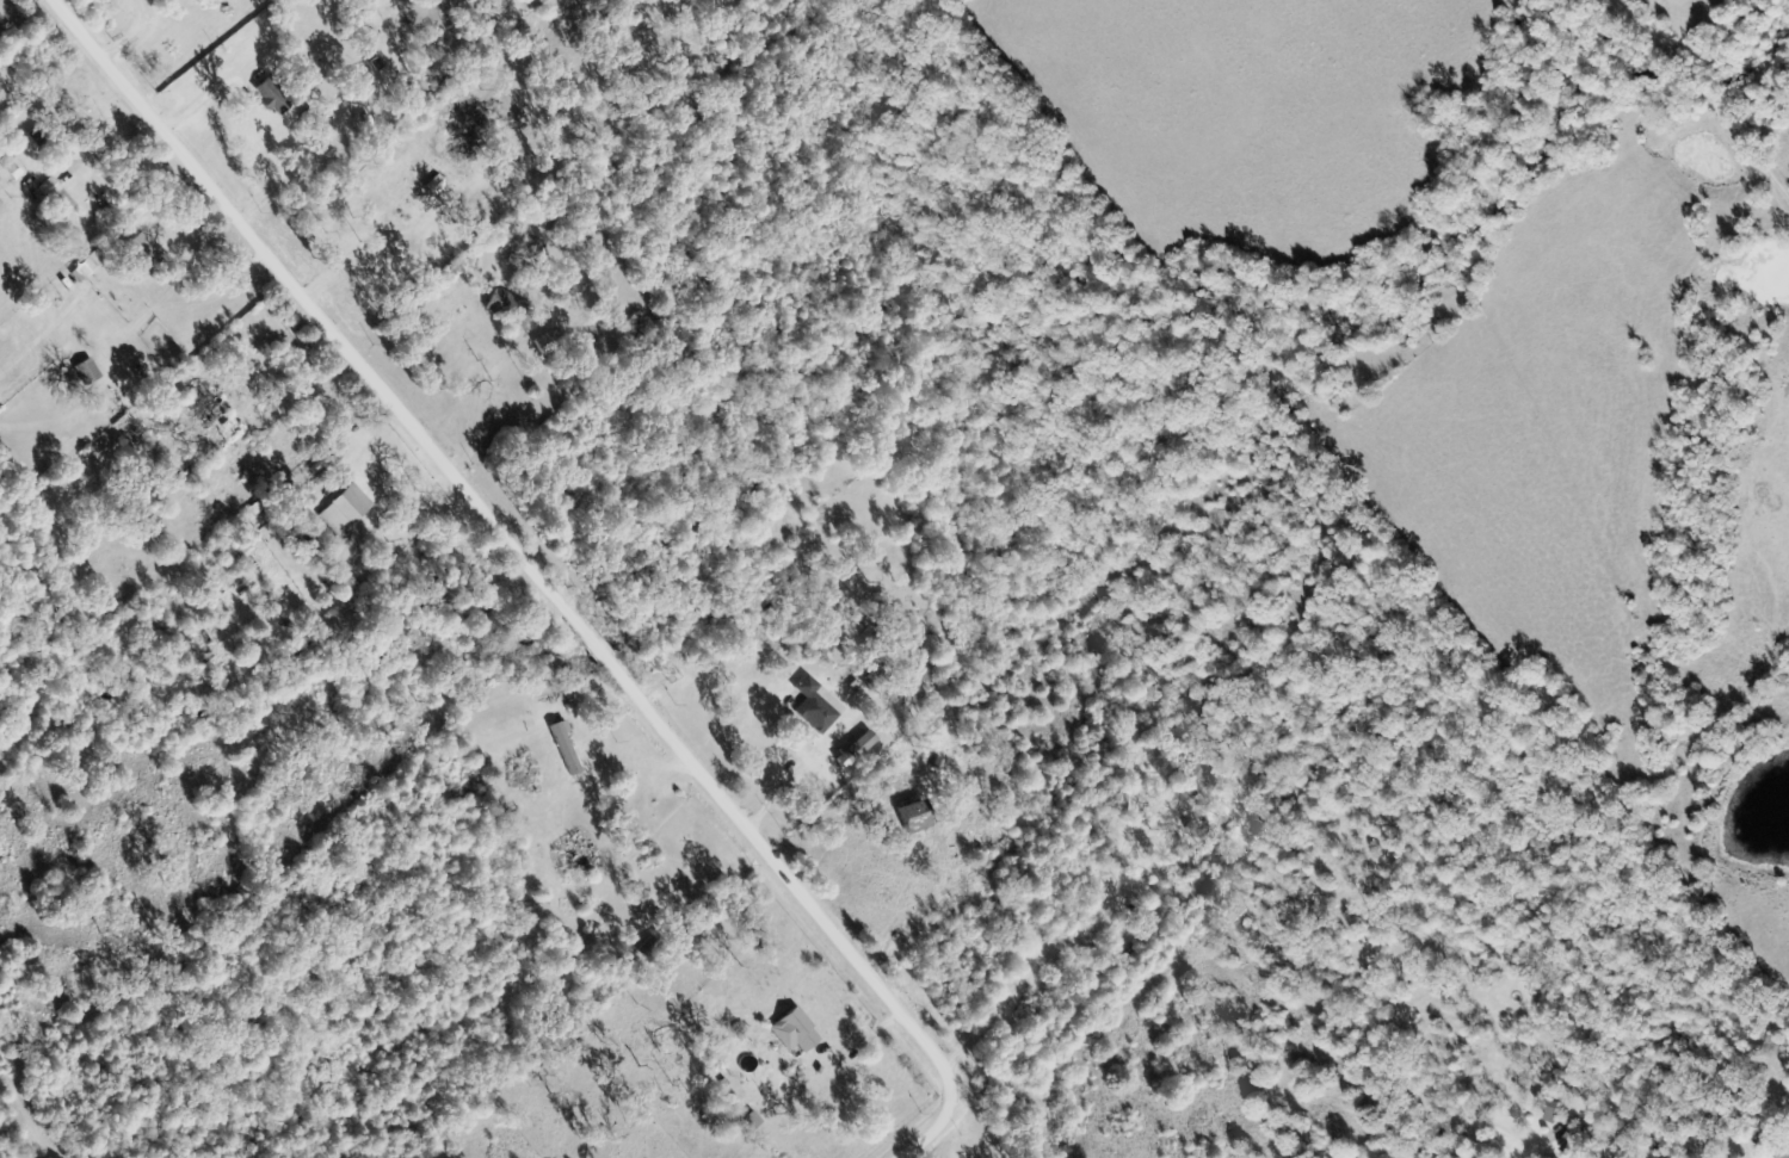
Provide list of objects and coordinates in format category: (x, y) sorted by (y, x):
building: (270, 97)
building: (58, 129)
building: (56, 197)
building: (142, 254)
building: (507, 308)
building: (544, 343)
building: (86, 371)
building: (210, 413)
building: (344, 510)
building: (311, 549)
road: (532, 576)
building: (923, 676)
building: (815, 706)
building: (1192, 780)
building: (1118, 801)
building: (912, 815)
building: (576, 857)
building: (1162, 867)
building: (1028, 1007)
building: (792, 1030)
building: (1547, 1107)
building: (1729, 1123)
building: (1611, 1152)
building: (1784, 1153)

